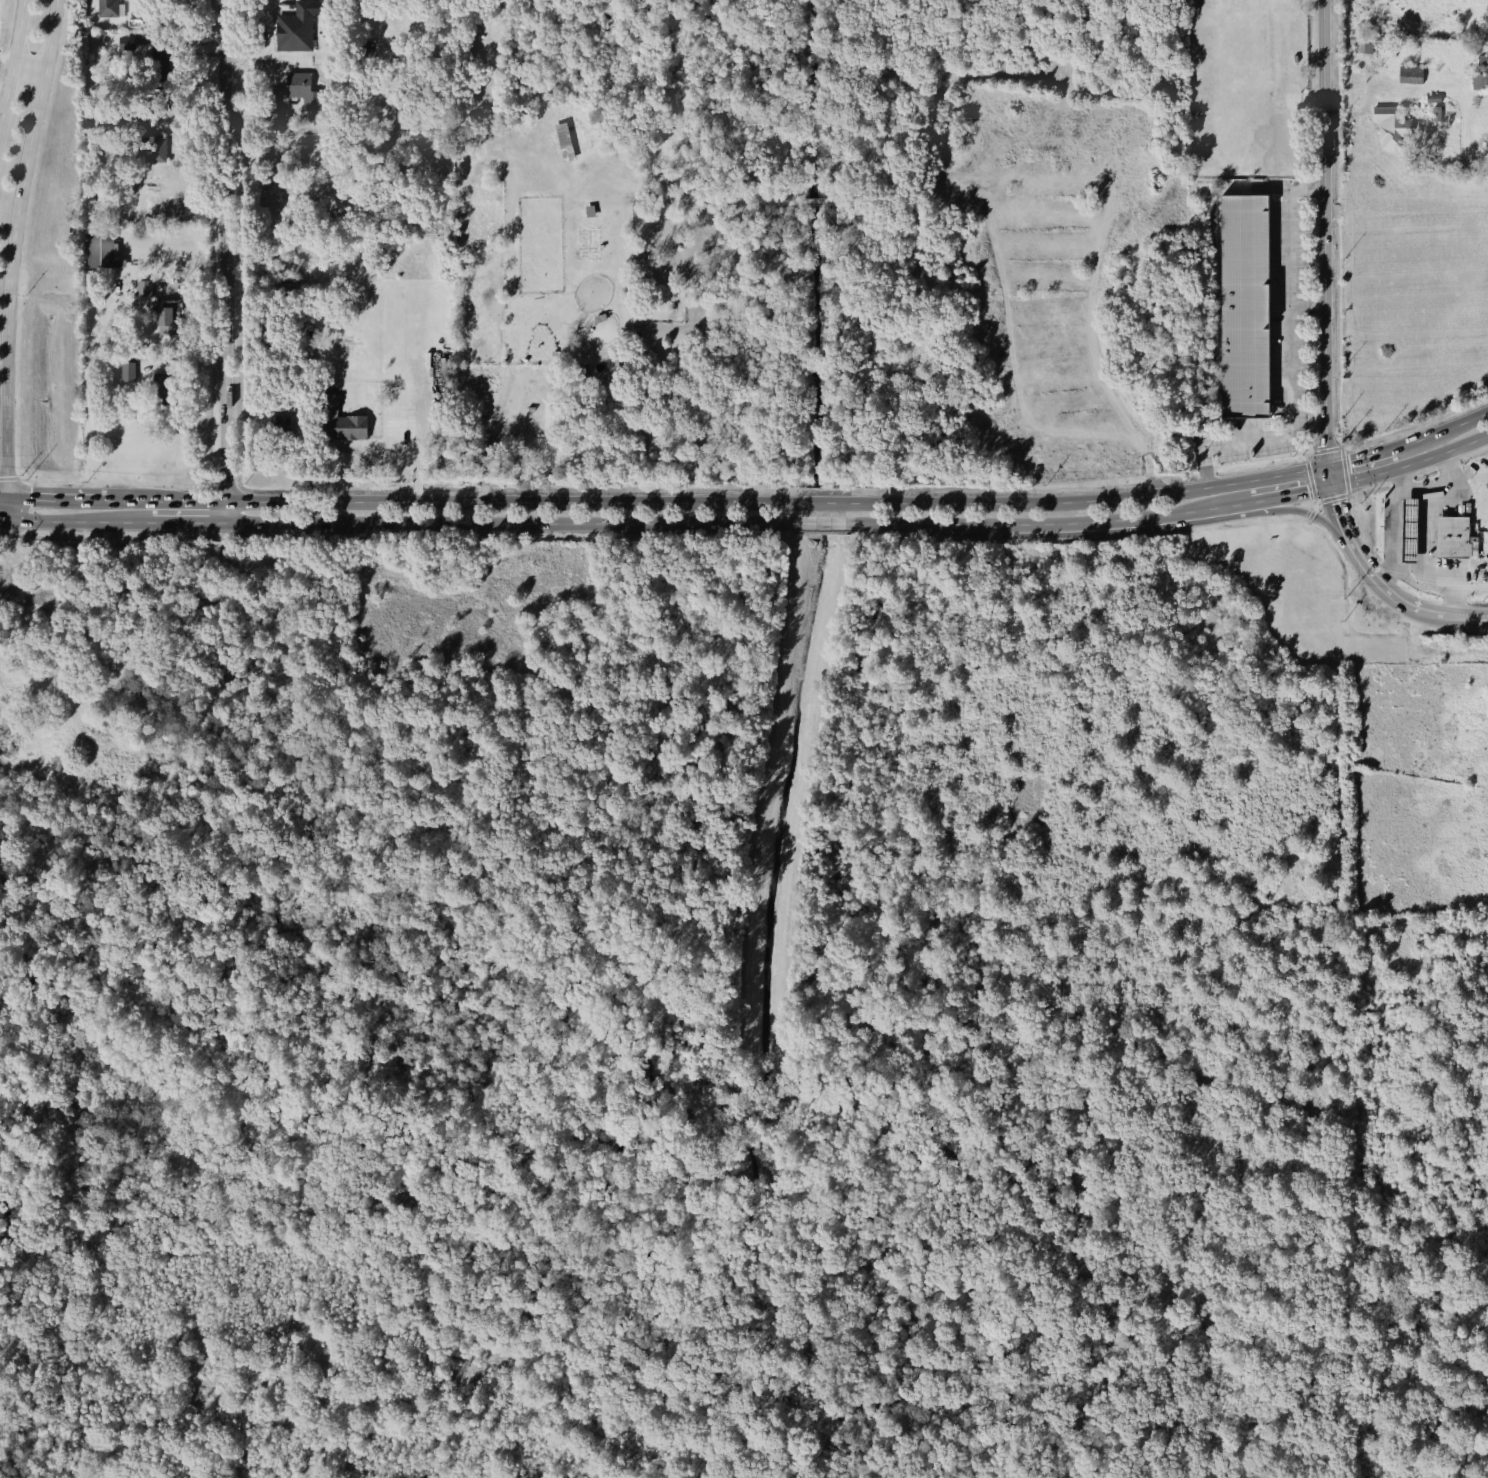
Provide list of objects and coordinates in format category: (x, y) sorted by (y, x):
building: (1474, 1)
building: (108, 8)
building: (294, 28)
building: (1363, 42)
building: (126, 43)
building: (1390, 47)
building: (159, 52)
road: (1351, 55)
road: (11, 56)
building: (1477, 59)
road: (26, 65)
building: (1409, 73)
road: (1373, 77)
building: (1478, 80)
building: (299, 90)
building: (1431, 97)
building: (1435, 113)
building: (143, 119)
building: (1389, 125)
building: (563, 141)
building: (153, 147)
building: (625, 168)
road: (1274, 186)
road: (1285, 193)
street lamp: (1298, 197)
building: (588, 210)
road: (1323, 232)
road: (12, 247)
building: (102, 249)
road: (227, 262)
building: (144, 288)
road: (1304, 302)
building: (1244, 306)
street lamp: (1299, 313)
building: (166, 315)
building: (598, 317)
parking lot: (1277, 345)
road: (1285, 360)
building: (554, 368)
building: (127, 370)
building: (611, 370)
building: (573, 384)
building: (165, 388)
building: (369, 391)
road: (505, 411)
building: (336, 417)
road: (1440, 429)
road: (320, 446)
road: (1359, 455)
street lamp: (1290, 459)
traffic signals: (1327, 464)
road: (1411, 464)
road: (1202, 467)
road: (1328, 470)
road: (313, 473)
road: (19, 477)
road: (8, 478)
street lamp: (1427, 478)
traffic signals: (1331, 484)
road: (1437, 490)
road: (1294, 491)
road: (2, 497)
traffic signals: (4, 498)
road: (53, 498)
road: (716, 502)
road: (4, 508)
road: (1306, 511)
road: (2, 518)
road: (1134, 518)
traffic signals: (5, 519)
road: (79, 520)
road: (189, 523)
road: (616, 524)
road: (1422, 529)
gas station: (1408, 530)
road: (1391, 532)
building: (1454, 537)
road: (1439, 572)
road: (1380, 580)
street lamp: (1399, 581)
street lamp: (1433, 595)
road: (1435, 652)
building: (95, 690)
road: (48, 691)
building: (5, 701)
building: (118, 724)
building: (34, 757)

